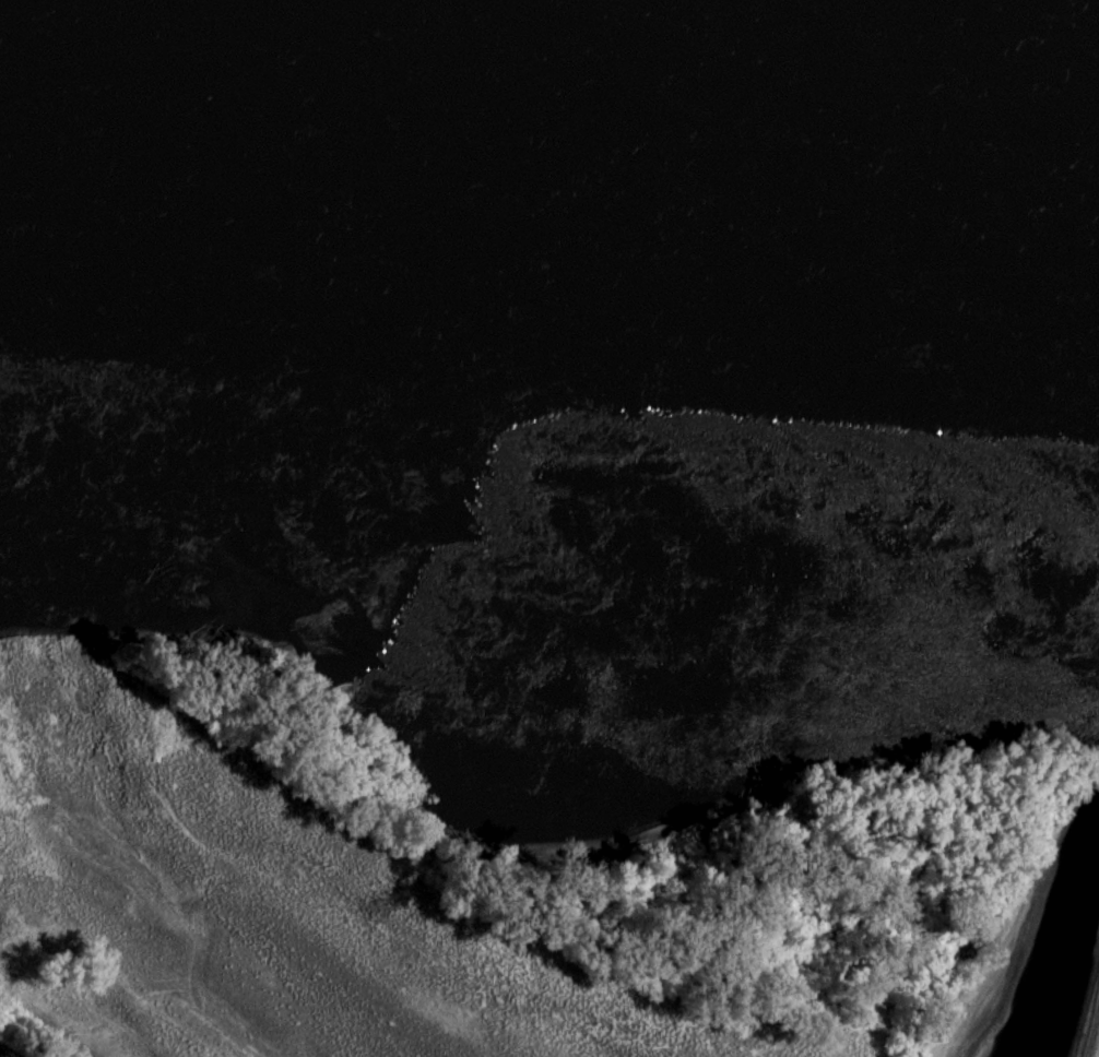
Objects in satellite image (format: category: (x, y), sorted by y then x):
river: (549, 244)

